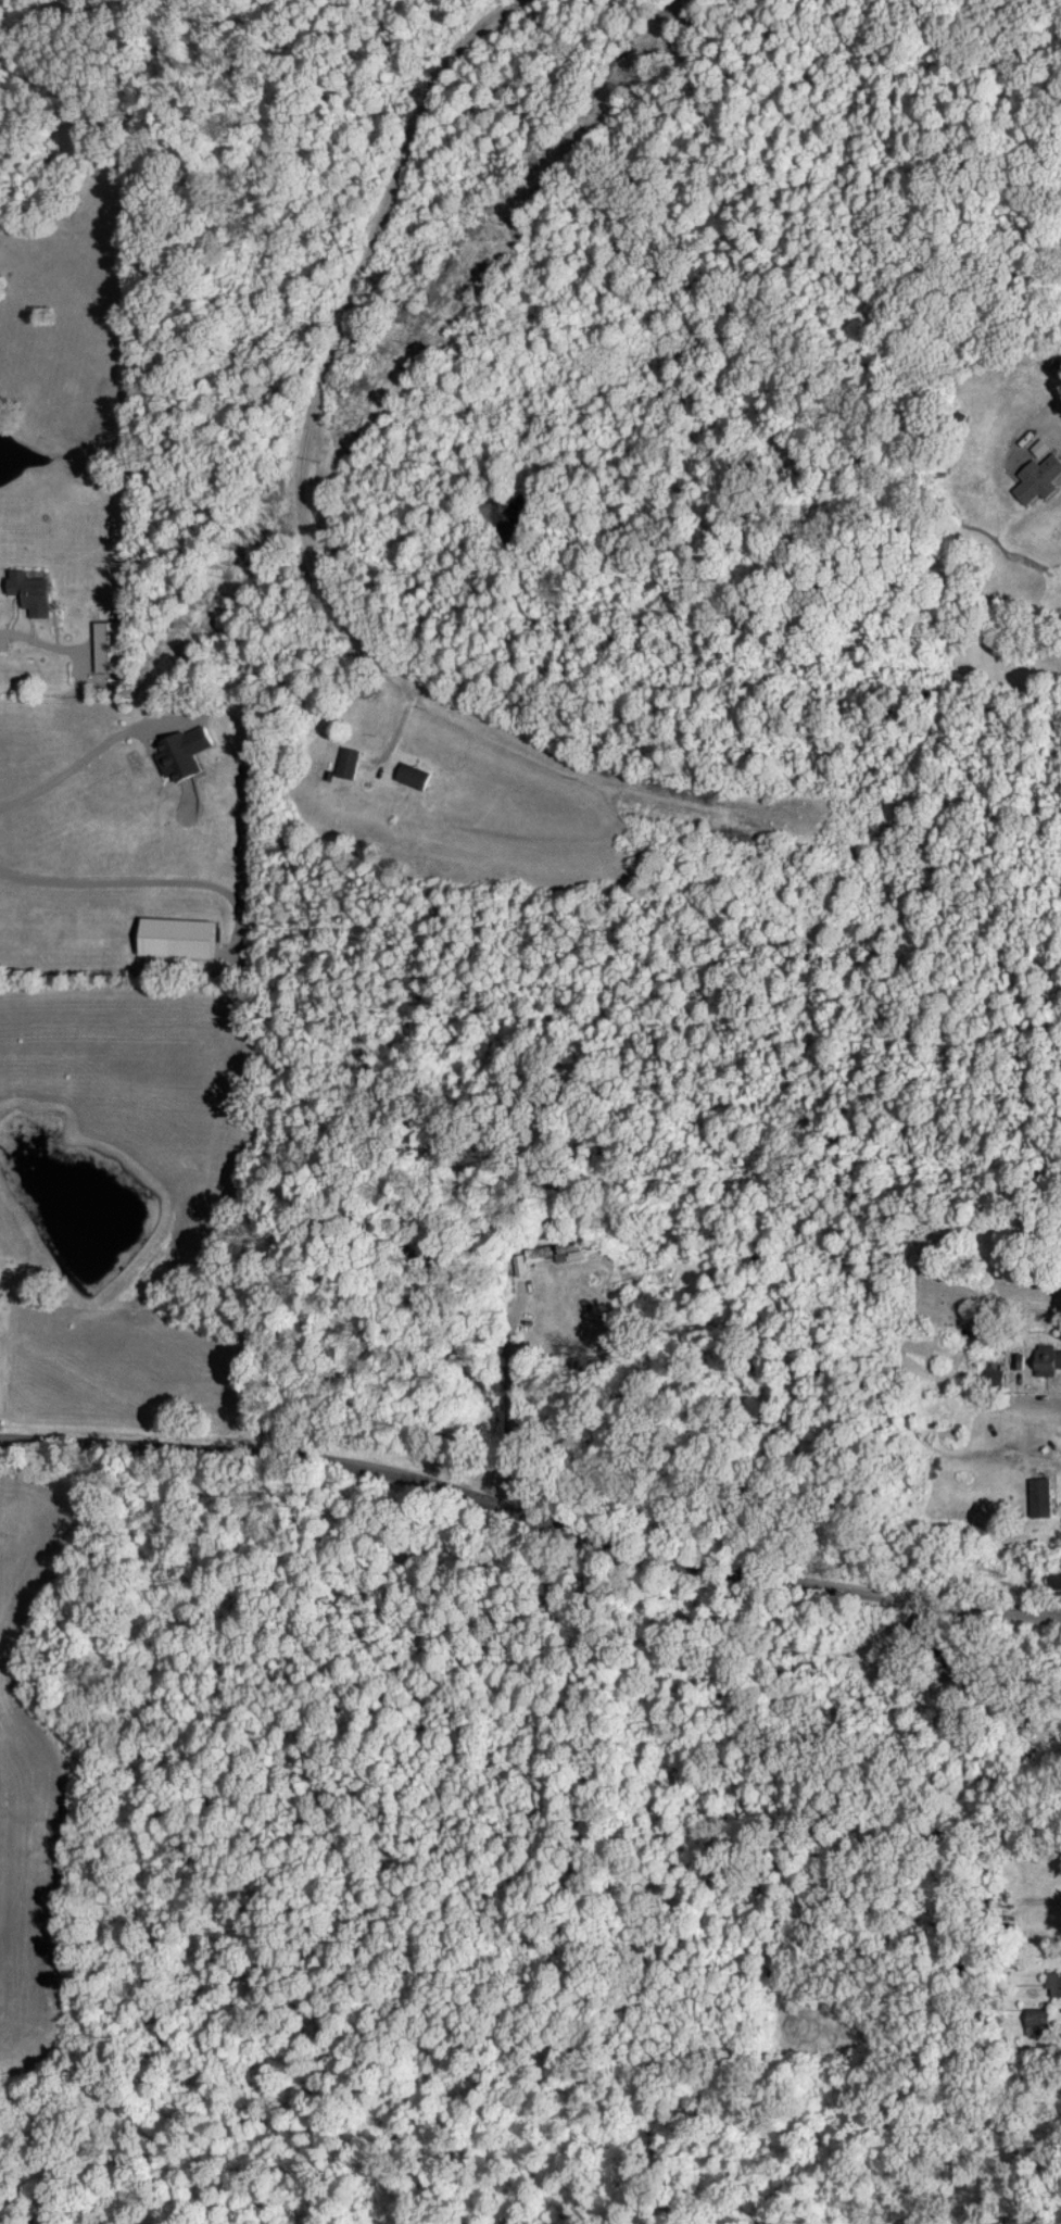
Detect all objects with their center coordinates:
road: (341, 332)
building: (1036, 447)
building: (1035, 477)
building: (25, 591)
building: (102, 645)
building: (177, 751)
building: (344, 762)
building: (407, 775)
building: (173, 937)
building: (559, 1254)
building: (1046, 1358)
building: (990, 1377)
road: (1028, 1399)
building: (1036, 1496)
road: (530, 1518)
building: (1052, 1576)
building: (1052, 1983)
building: (1040, 2021)

